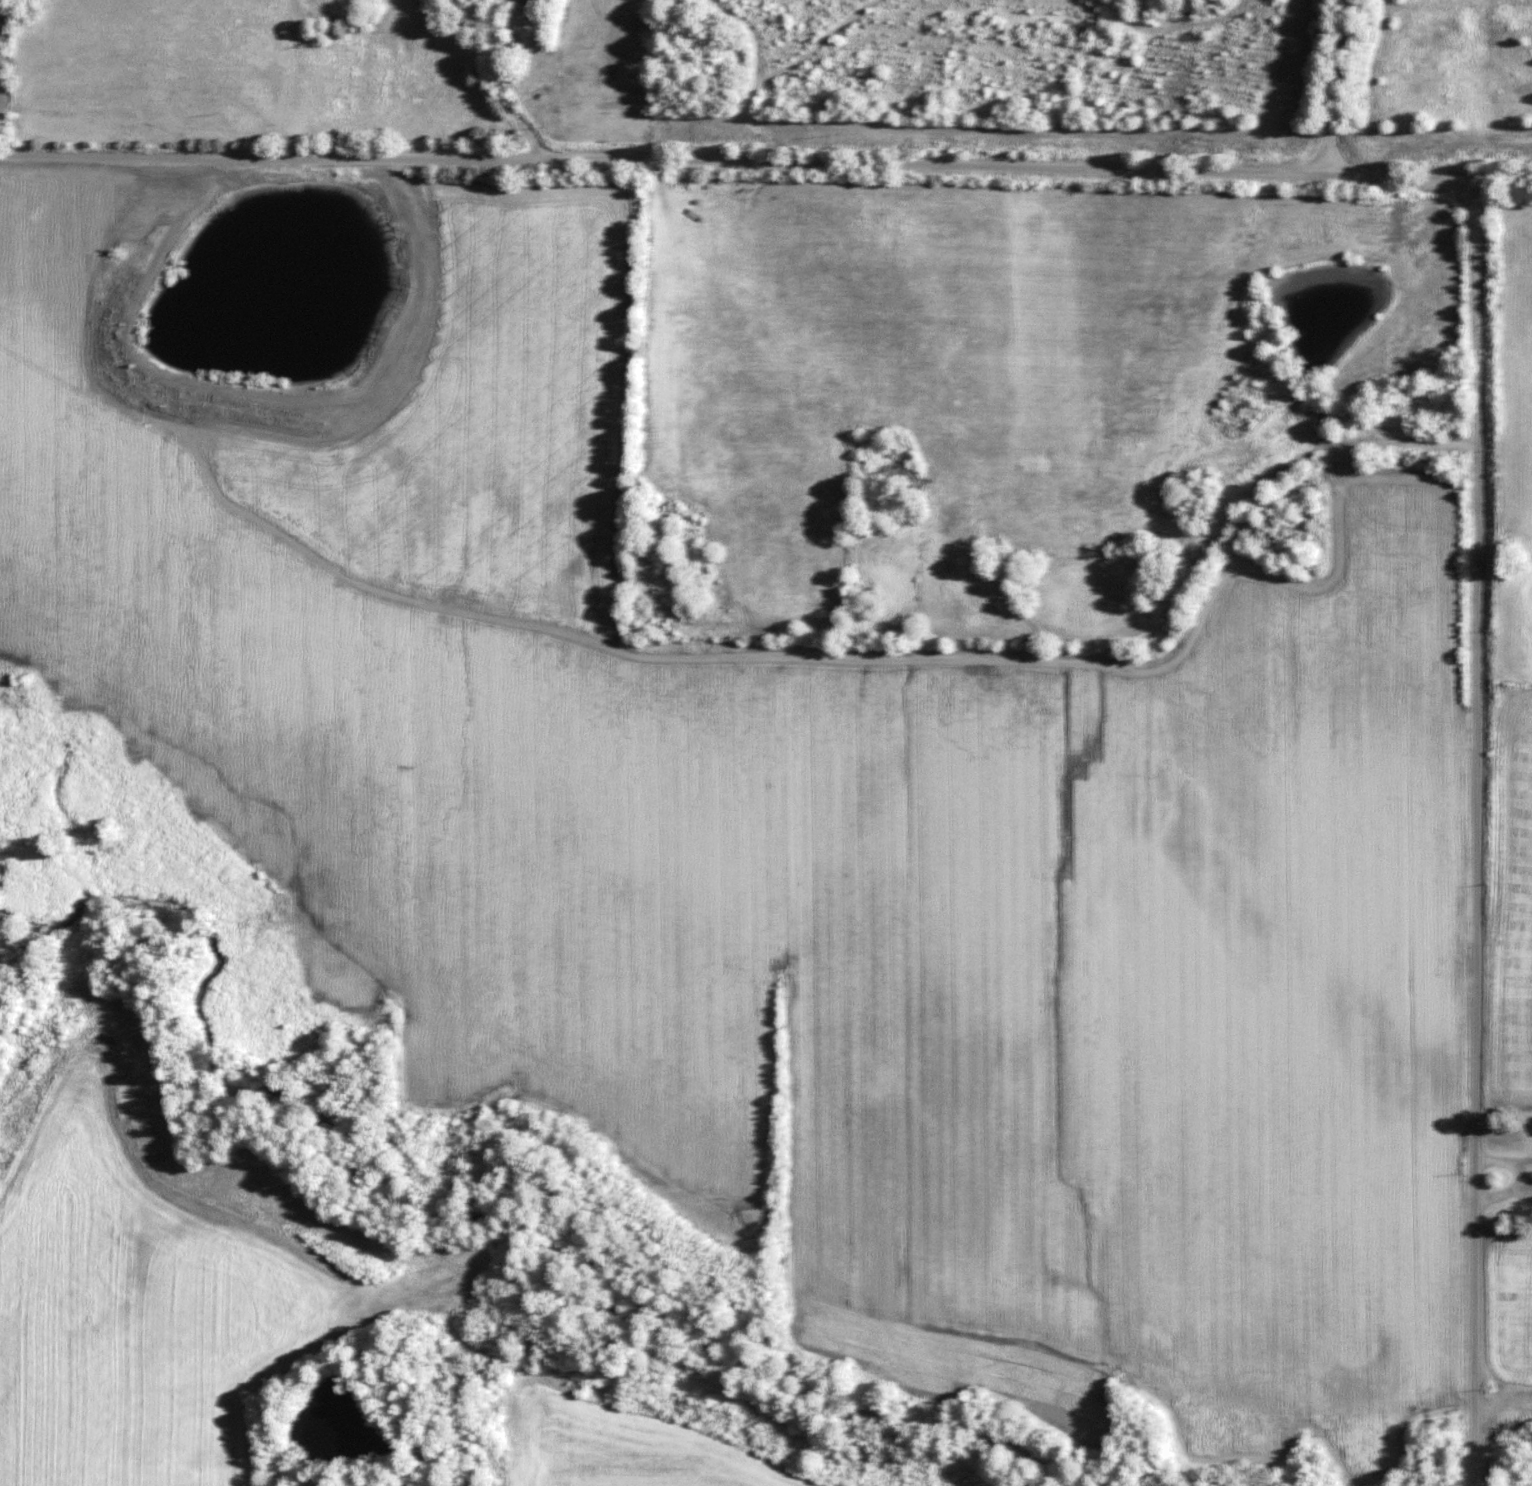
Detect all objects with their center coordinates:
road: (1335, 85)
road: (766, 162)
building: (1330, 409)
road: (1477, 834)

